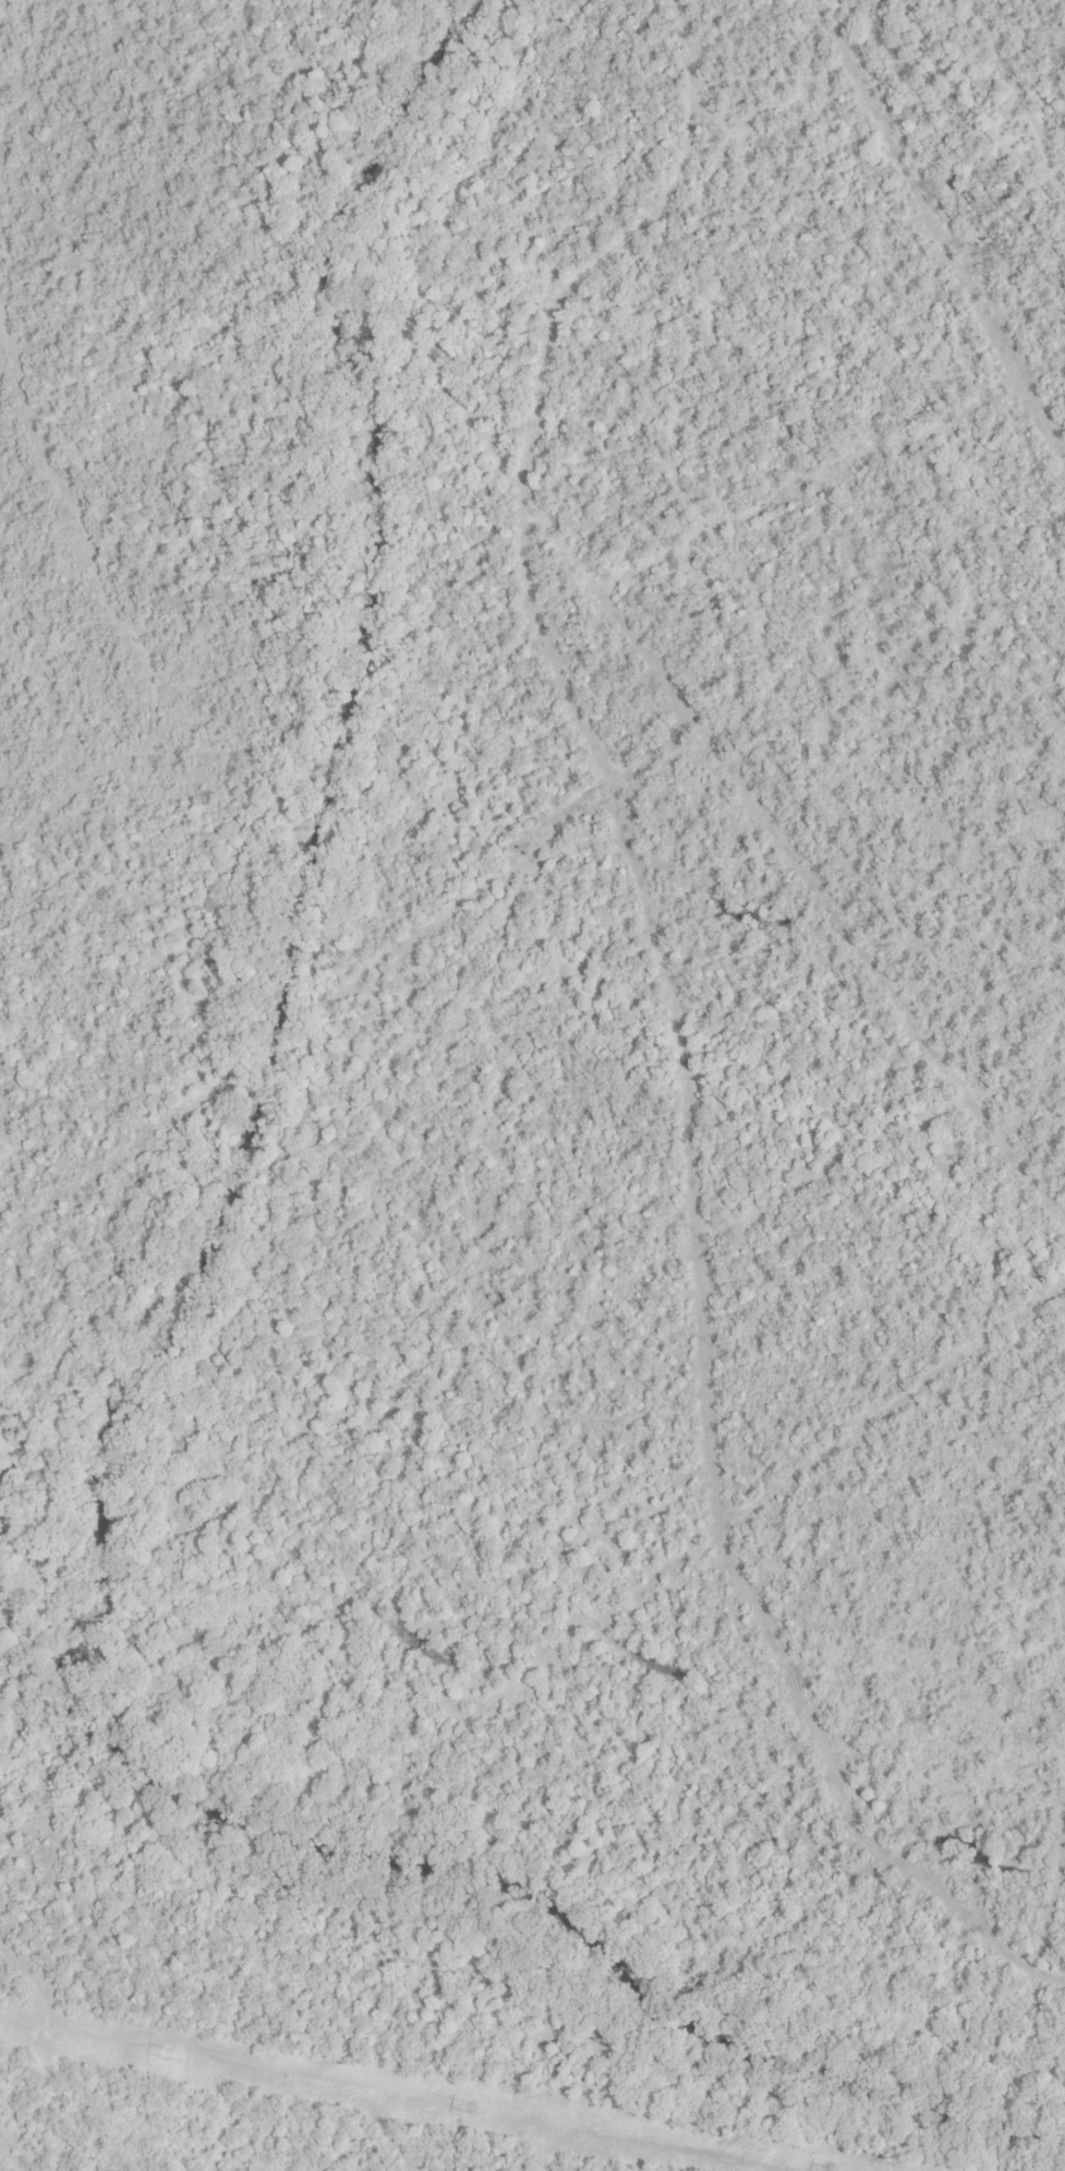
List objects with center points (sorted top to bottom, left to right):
power tower: (171, 2055)
power tower: (472, 2110)

